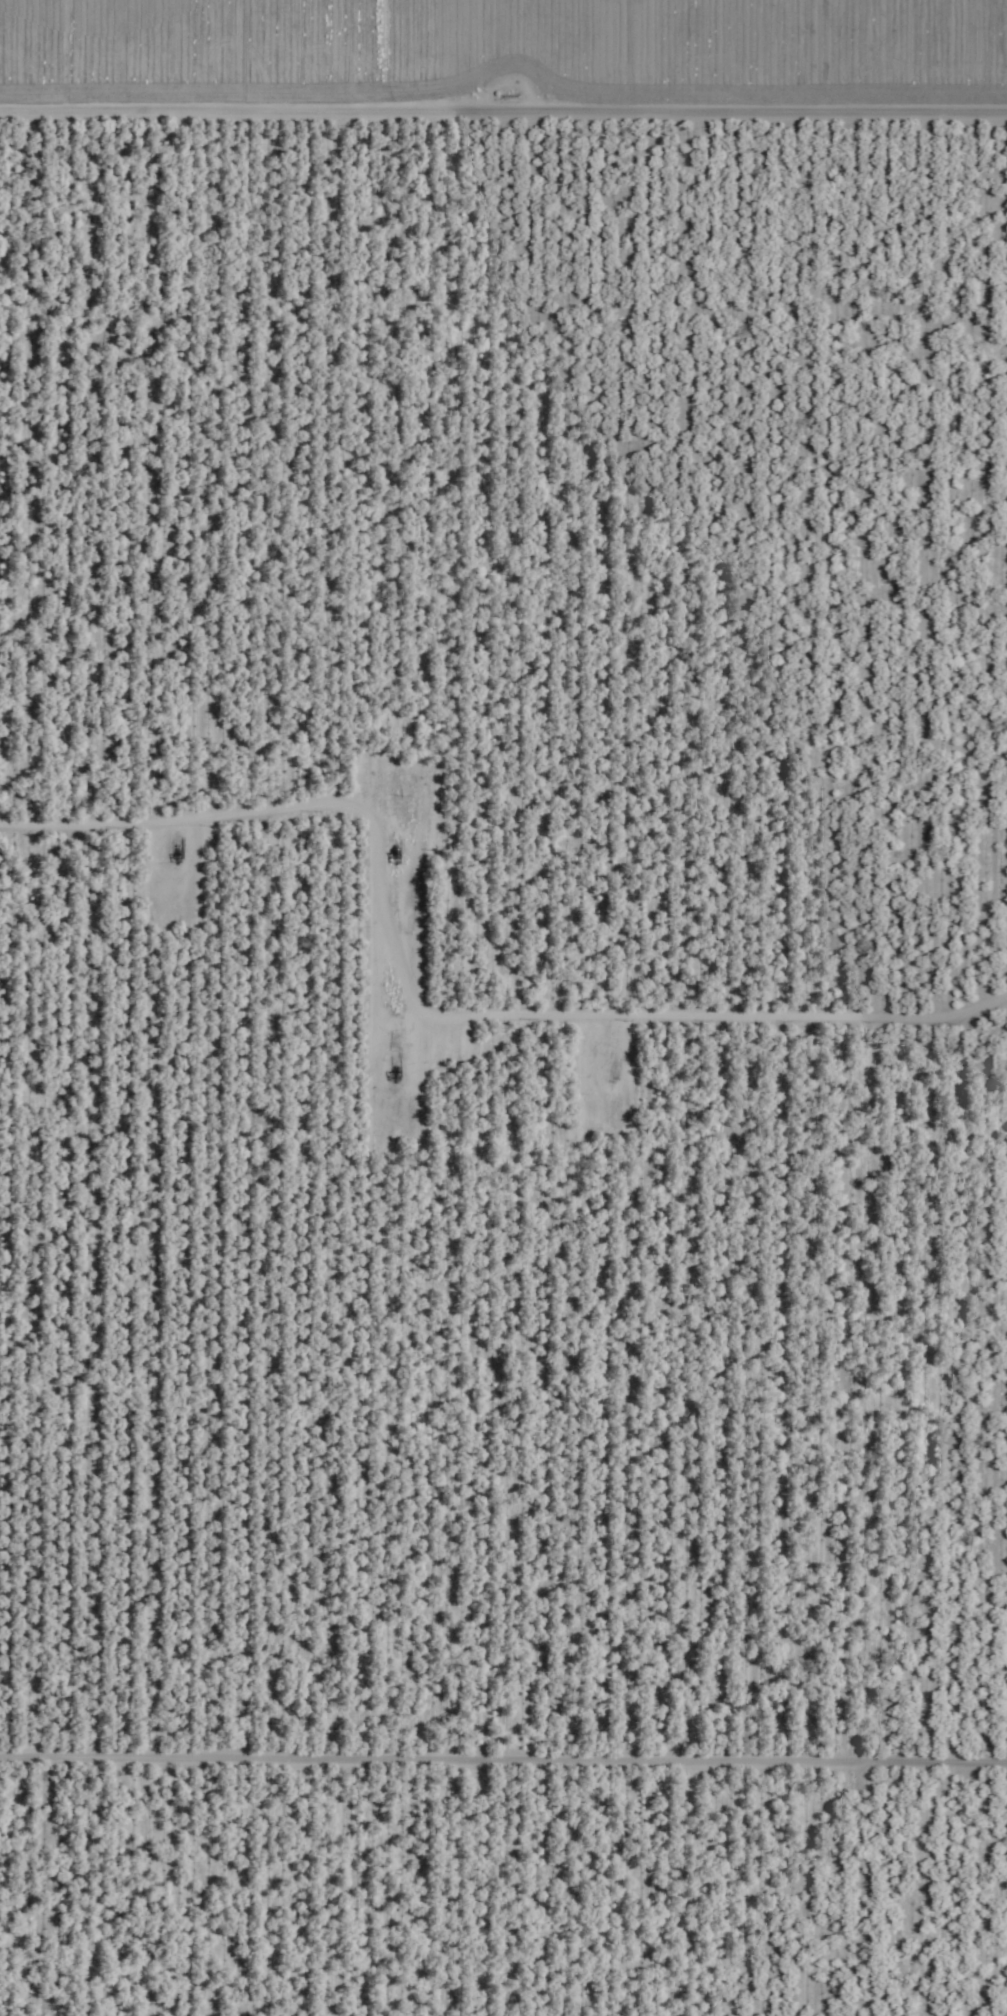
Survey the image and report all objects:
road: (503, 58)
crop: (505, 63)
road: (503, 1756)

